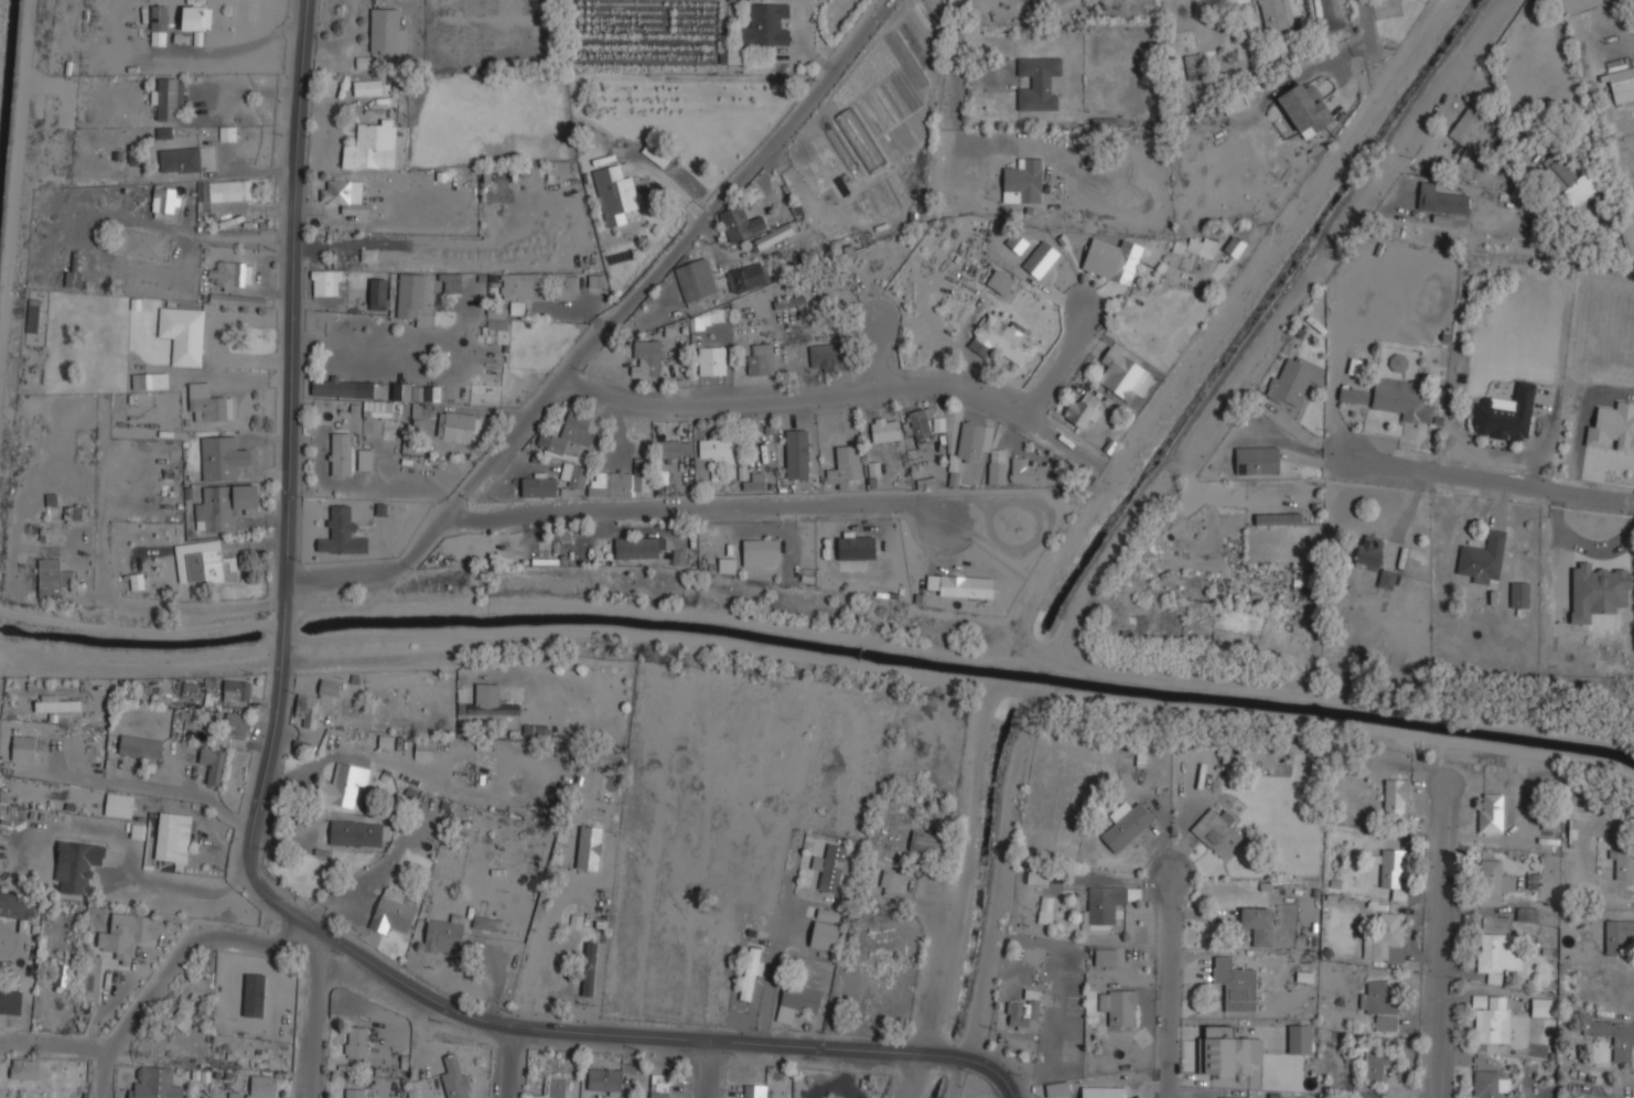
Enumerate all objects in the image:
building: (735, 0)
building: (1243, 0)
road: (1367, 3)
building: (159, 17)
building: (196, 17)
building: (1275, 18)
building: (765, 25)
road: (1373, 28)
building: (386, 31)
building: (158, 37)
road: (1613, 40)
building: (1196, 65)
building: (1039, 83)
building: (1622, 85)
building: (367, 86)
building: (169, 99)
building: (1305, 106)
building: (1103, 122)
building: (1464, 126)
building: (372, 146)
building: (180, 159)
building: (1615, 163)
building: (1023, 180)
building: (1570, 181)
building: (222, 192)
building: (615, 193)
road: (1374, 193)
building: (751, 194)
building: (342, 196)
building: (165, 200)
building: (1440, 200)
building: (740, 223)
building: (760, 241)
building: (140, 244)
building: (1201, 246)
building: (1235, 246)
building: (1110, 261)
building: (1056, 263)
building: (230, 272)
building: (746, 277)
building: (72, 279)
building: (696, 279)
building: (593, 280)
building: (326, 281)
building: (1000, 281)
building: (451, 282)
building: (520, 284)
building: (566, 286)
road: (292, 289)
building: (378, 293)
building: (416, 297)
building: (236, 299)
building: (789, 302)
building: (516, 308)
road: (605, 325)
building: (182, 334)
building: (1002, 338)
road: (874, 352)
building: (825, 354)
building: (646, 357)
building: (760, 358)
building: (712, 359)
road: (1063, 360)
building: (1399, 363)
building: (1121, 374)
building: (149, 379)
building: (1292, 381)
building: (351, 391)
building: (402, 391)
road: (840, 394)
building: (1354, 395)
building: (1402, 399)
building: (207, 403)
building: (1083, 409)
building: (1505, 415)
building: (459, 426)
building: (920, 427)
building: (1613, 427)
building: (885, 428)
building: (568, 432)
building: (968, 443)
building: (674, 446)
building: (717, 450)
building: (340, 453)
building: (797, 453)
building: (223, 457)
building: (364, 460)
building: (1258, 460)
building: (845, 466)
building: (998, 466)
building: (1031, 471)
building: (573, 474)
road: (1493, 478)
building: (620, 481)
building: (753, 482)
building: (538, 485)
building: (223, 506)
road: (703, 507)
building: (74, 513)
building: (1277, 518)
building: (342, 532)
building: (856, 546)
building: (639, 547)
building: (1369, 551)
building: (761, 552)
building: (1482, 558)
building: (204, 562)
building: (725, 566)
building: (52, 578)
building: (1387, 579)
building: (960, 584)
building: (1597, 590)
building: (1519, 595)
road: (164, 606)
road: (282, 618)
road: (153, 660)
building: (330, 688)
building: (237, 690)
building: (490, 700)
building: (56, 703)
building: (308, 711)
building: (234, 729)
building: (140, 746)
building: (23, 747)
building: (423, 750)
building: (214, 764)
building: (342, 784)
building: (1394, 794)
building: (1491, 811)
building: (1126, 823)
building: (1218, 831)
building: (355, 832)
building: (166, 836)
building: (925, 841)
street lamp: (261, 849)
building: (1625, 863)
building: (25, 864)
building: (76, 865)
building: (830, 868)
building: (1394, 869)
road: (372, 875)
road: (600, 876)
building: (1490, 882)
building: (891, 883)
road: (557, 900)
building: (19, 905)
building: (1106, 905)
building: (1046, 909)
building: (391, 912)
building: (1527, 913)
building: (574, 922)
building: (486, 923)
building: (1258, 924)
building: (128, 933)
building: (444, 935)
building: (824, 935)
building: (880, 935)
building: (1619, 935)
building: (1386, 938)
road: (1441, 940)
road: (565, 941)
road: (334, 950)
building: (1498, 954)
building: (1105, 957)
road: (174, 968)
building: (589, 968)
building: (61, 975)
building: (90, 978)
road: (1170, 981)
building: (1235, 983)
building: (11, 1001)
building: (798, 1001)
building: (1118, 1005)
building: (1380, 1005)
building: (1544, 1006)
building: (185, 1011)
building: (1024, 1011)
building: (1490, 1019)
road: (513, 1021)
road: (311, 1023)
building: (1614, 1036)
building: (1300, 1037)
building: (355, 1042)
road: (53, 1046)
building: (1229, 1051)
road: (509, 1059)
building: (1377, 1063)
building: (25, 1068)
road: (712, 1068)
building: (454, 1076)
building: (606, 1080)
building: (154, 1083)
building: (1490, 1083)
building: (262, 1086)
building: (553, 1087)
building: (659, 1087)
building: (1057, 1088)
building: (753, 1090)
building: (1105, 1091)
building: (353, 1092)
building: (1234, 1097)

